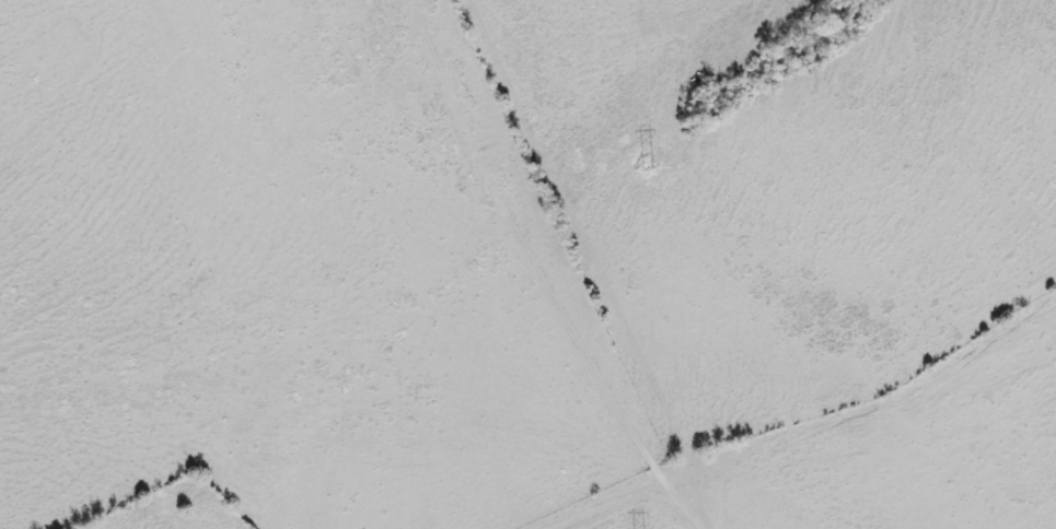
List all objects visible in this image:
power tower: (642, 168)

